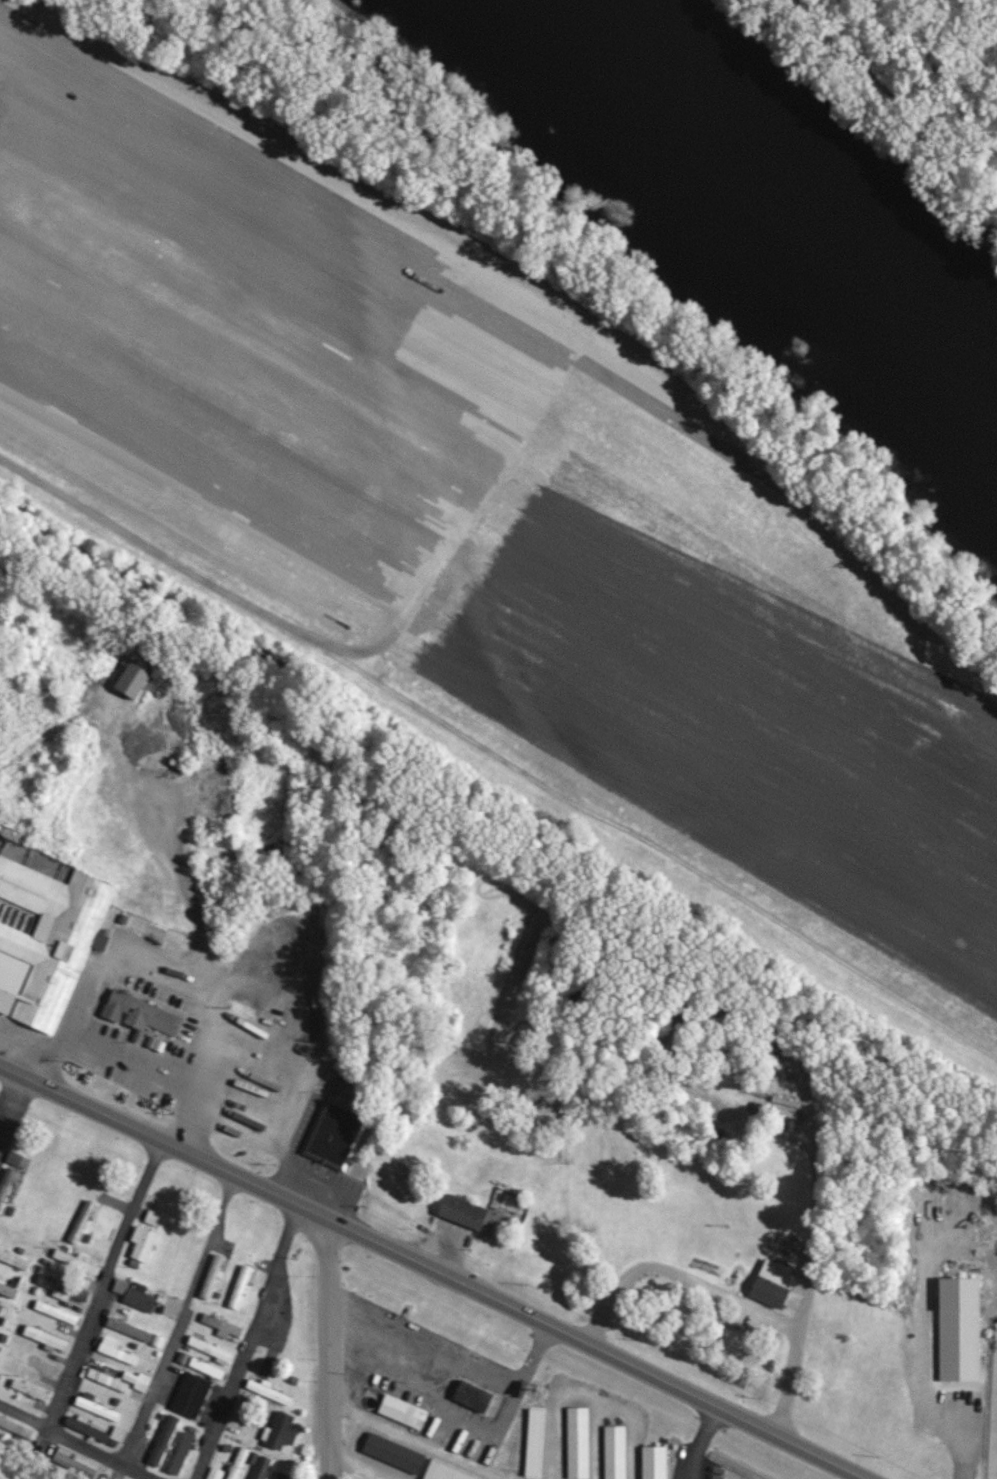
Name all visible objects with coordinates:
road: (886, 108)
river: (793, 204)
building: (133, 679)
building: (10, 846)
building: (48, 941)
road: (183, 973)
building: (140, 1015)
road: (9, 1086)
building: (334, 1135)
building: (13, 1159)
building: (6, 1184)
building: (471, 1215)
building: (152, 1218)
building: (81, 1222)
building: (142, 1243)
building: (12, 1258)
road: (439, 1263)
road: (96, 1276)
building: (211, 1277)
building: (772, 1284)
building: (120, 1286)
building: (239, 1287)
building: (8, 1291)
building: (82, 1295)
road: (723, 1296)
building: (140, 1297)
building: (0, 1308)
building: (56, 1313)
road: (174, 1313)
building: (222, 1326)
building: (129, 1329)
building: (959, 1330)
road: (240, 1337)
building: (45, 1338)
road: (329, 1344)
building: (210, 1350)
building: (114, 1351)
road: (455, 1360)
building: (206, 1368)
building: (113, 1372)
building: (107, 1380)
building: (137, 1381)
building: (29, 1390)
building: (267, 1391)
building: (190, 1395)
building: (473, 1397)
building: (96, 1407)
building: (403, 1412)
building: (86, 1427)
building: (15, 1428)
building: (281, 1432)
building: (118, 1434)
road: (701, 1439)
building: (163, 1440)
road: (357, 1441)
road: (417, 1441)
road: (77, 1442)
building: (533, 1443)
building: (577, 1443)
building: (182, 1451)
building: (614, 1452)
building: (393, 1453)
building: (653, 1462)
building: (72, 1463)
building: (238, 1463)
road: (352, 1466)
building: (260, 1467)
building: (443, 1472)
building: (215, 1473)
building: (281, 1476)

